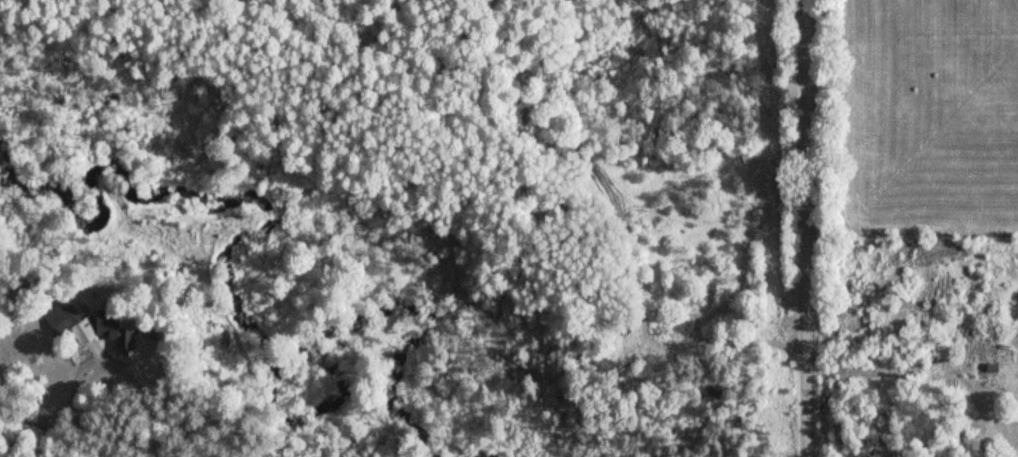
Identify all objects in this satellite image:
road: (812, 228)
building: (75, 324)
building: (1002, 370)
road: (123, 415)

